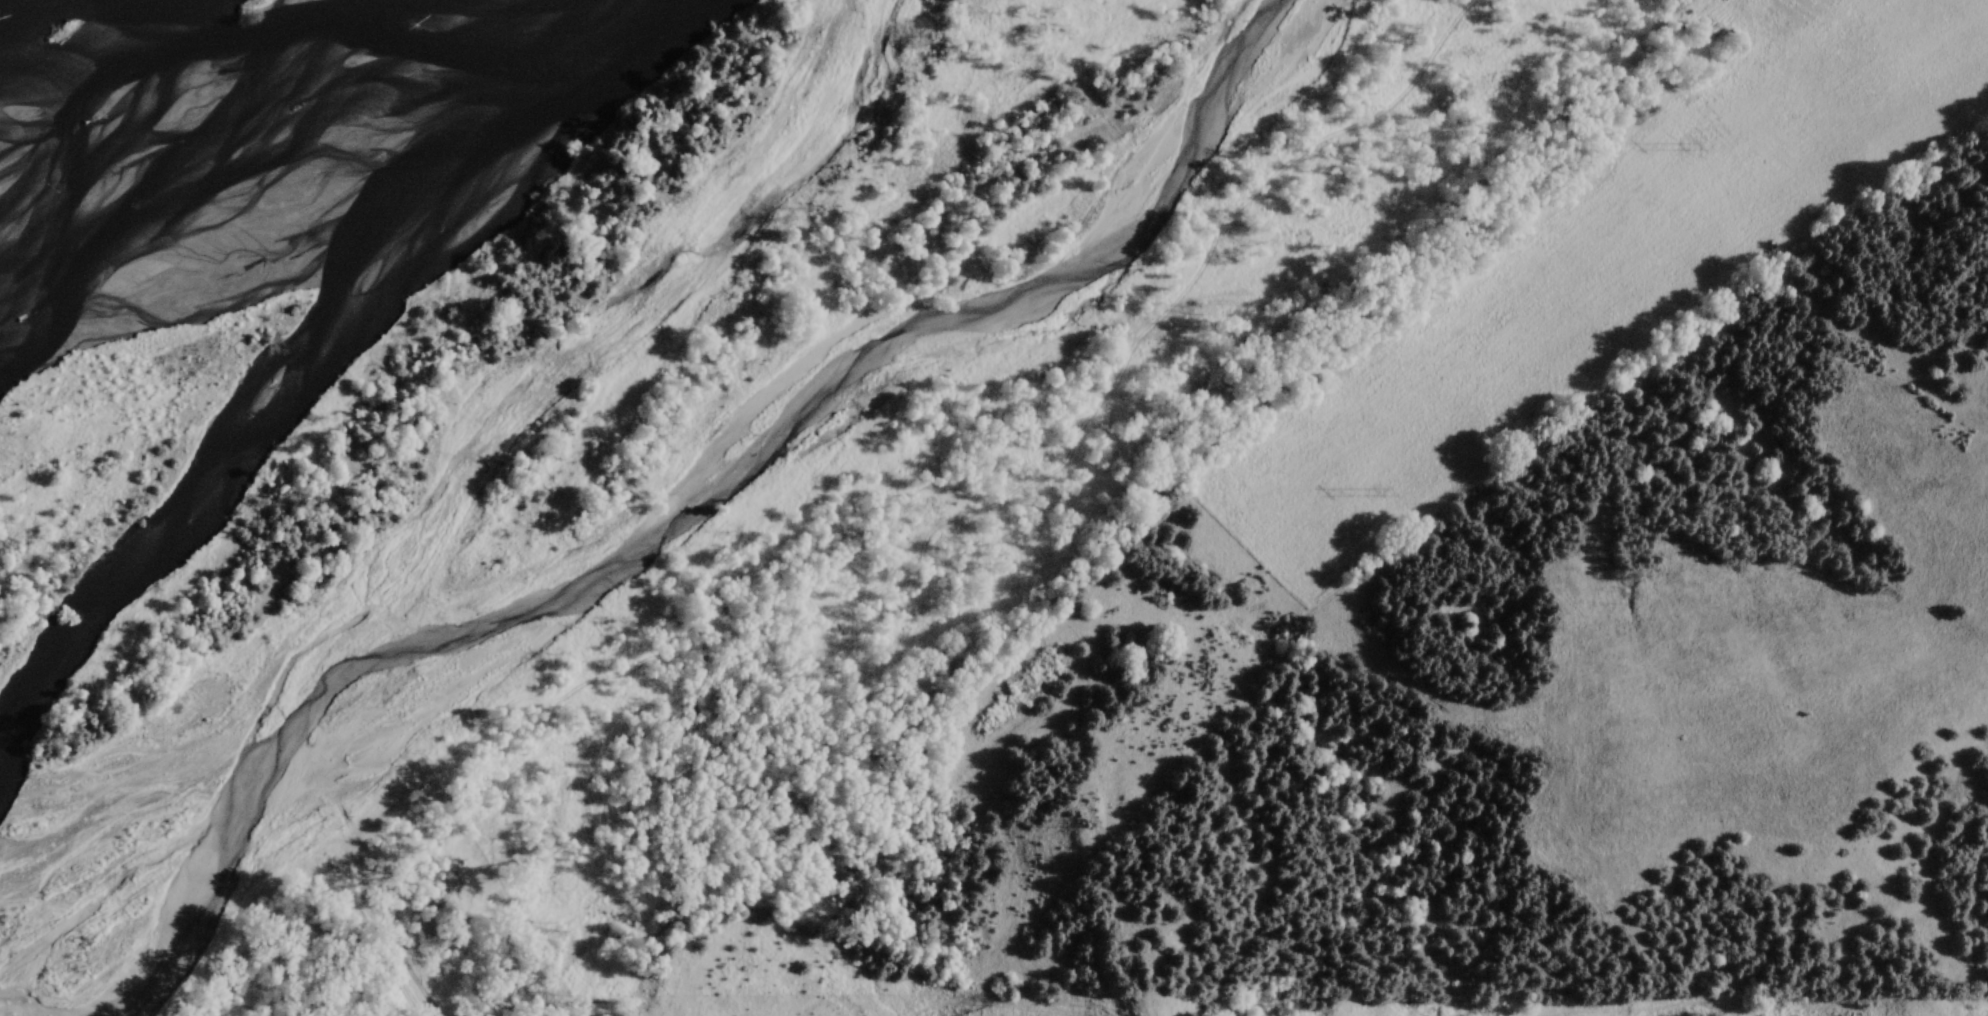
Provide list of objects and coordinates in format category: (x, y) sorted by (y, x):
river: (323, 134)
power tower: (1686, 146)
power tower: (1382, 493)
power tower: (1084, 823)

